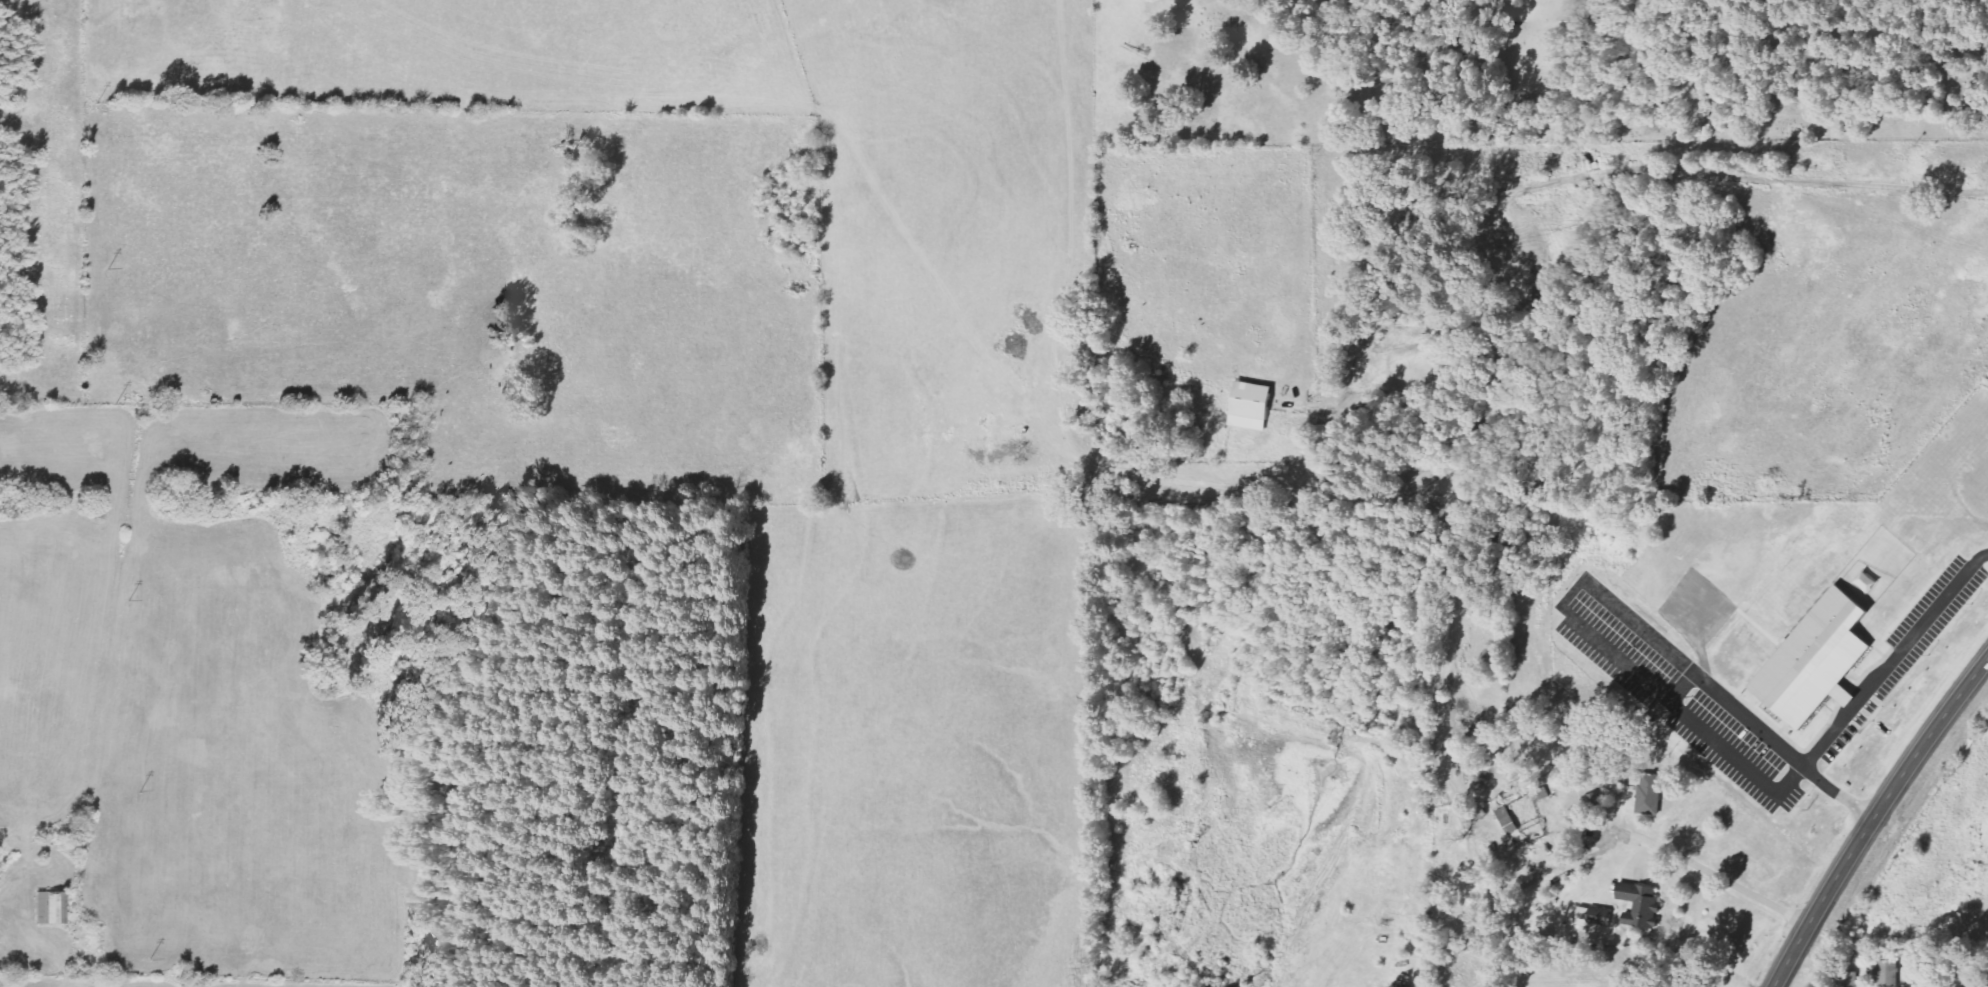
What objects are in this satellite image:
building: (1439, 366)
building: (1254, 407)
building: (1326, 432)
building: (1821, 660)
building: (1651, 794)
road: (1884, 800)
building: (1509, 820)
building: (1643, 906)
building: (52, 908)
building: (1596, 915)
road: (1783, 969)
building: (1889, 974)
road: (1915, 974)

